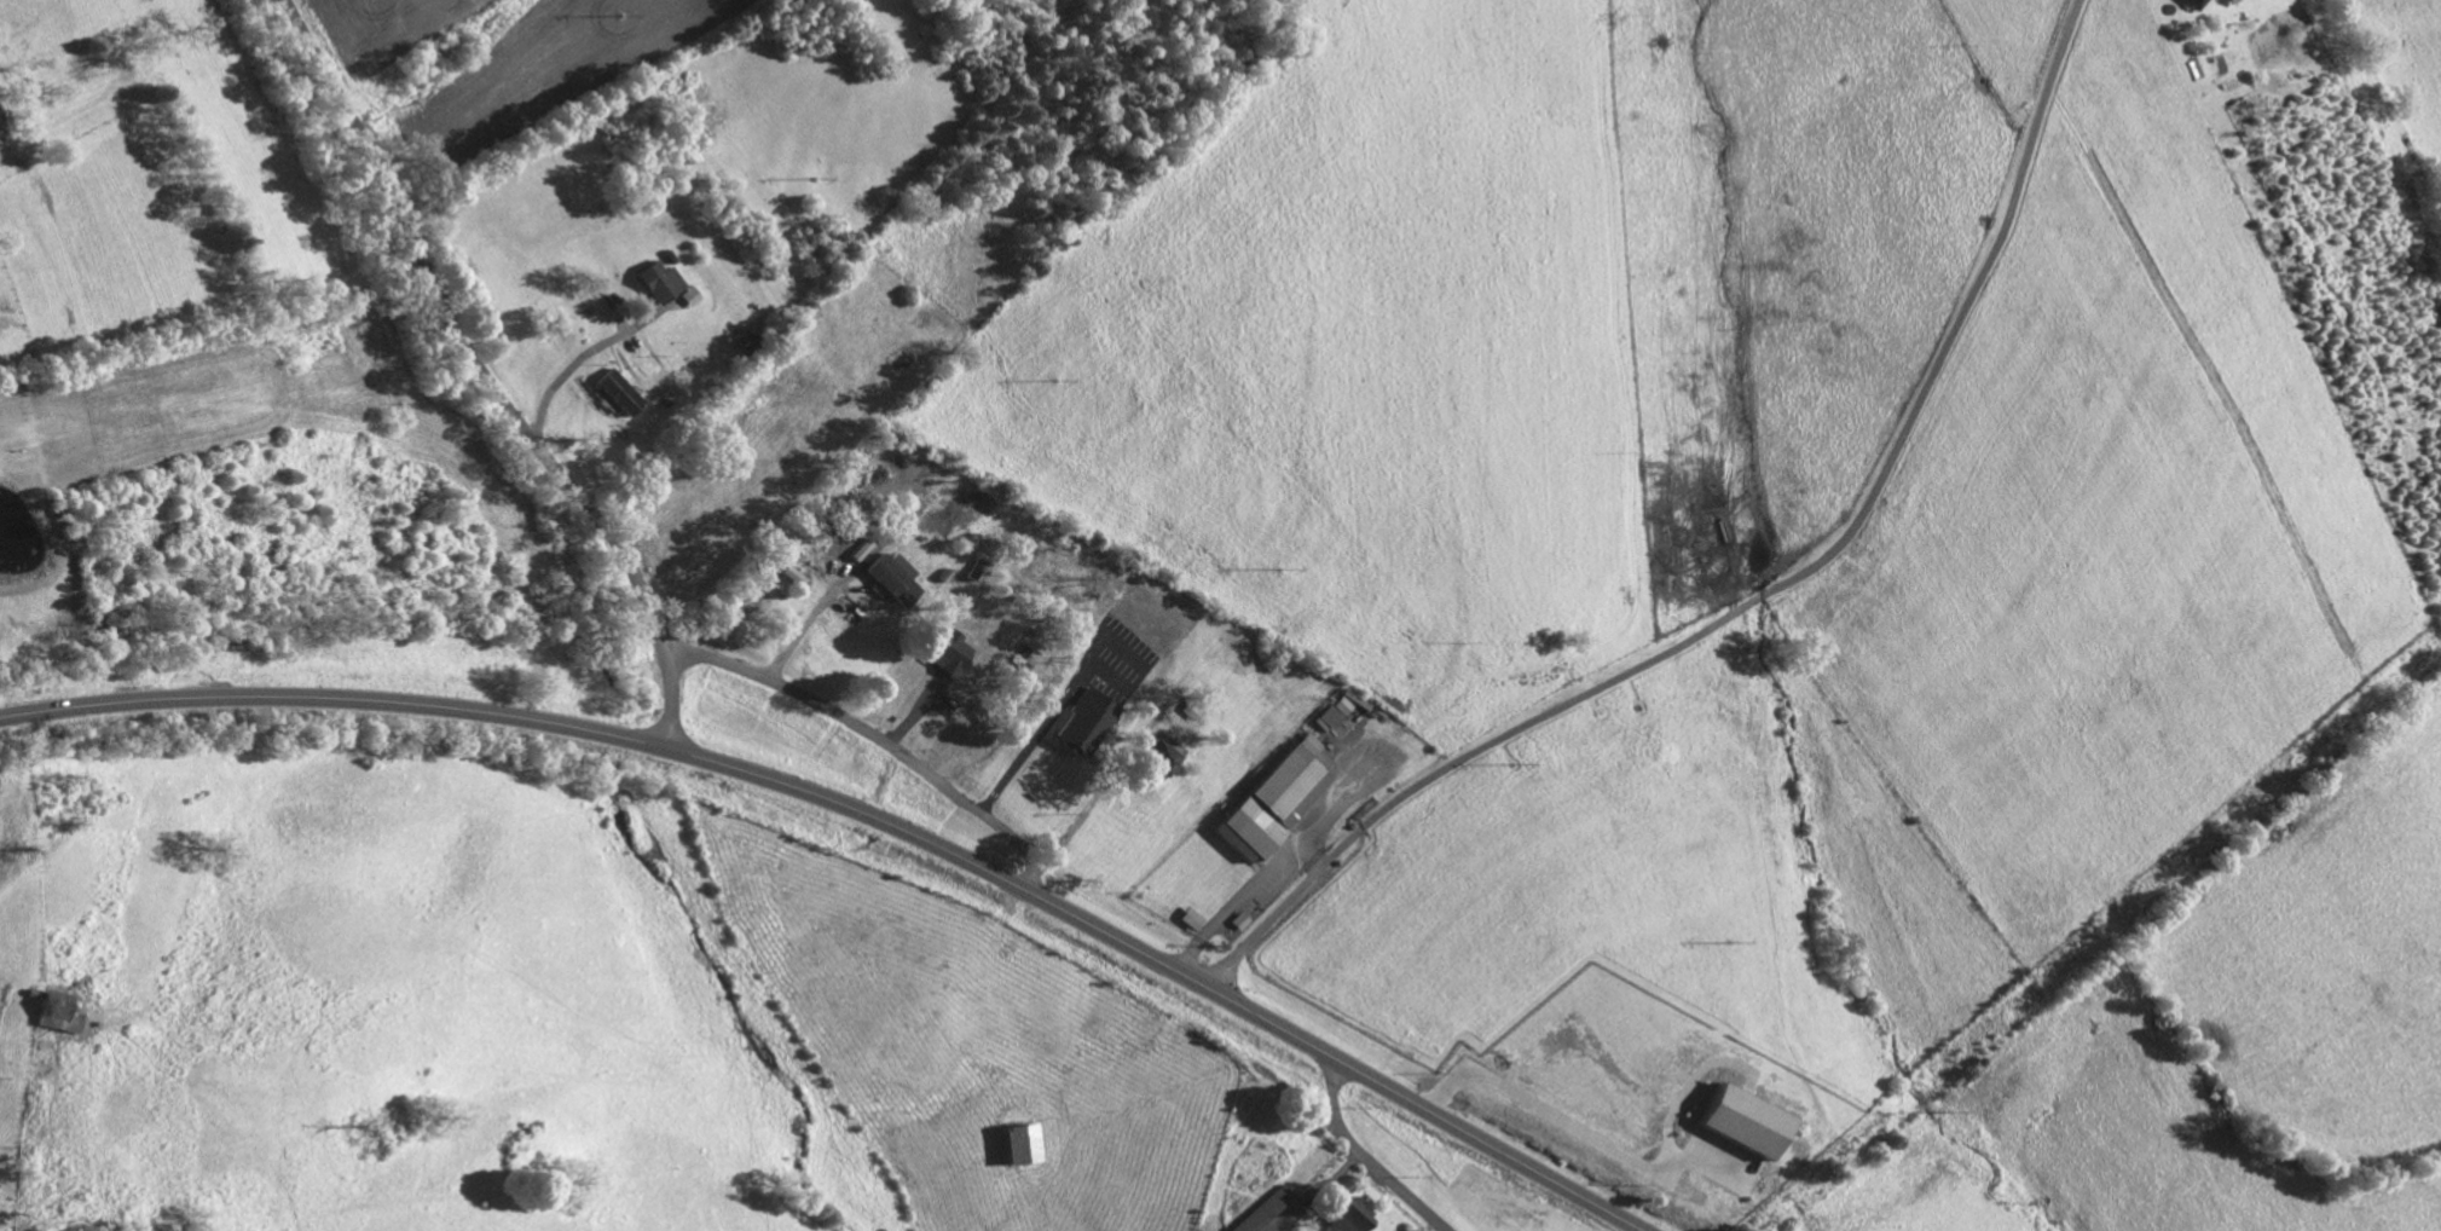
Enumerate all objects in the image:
building: (2191, 2)
building: (656, 281)
building: (688, 296)
road: (573, 363)
road: (484, 377)
building: (618, 392)
building: (791, 574)
building: (892, 580)
road: (1765, 595)
building: (1326, 719)
building: (1082, 722)
road: (1031, 742)
road: (867, 749)
building: (1159, 756)
building: (1274, 801)
road: (867, 815)
building: (1190, 919)
building: (1238, 921)
building: (52, 1012)
building: (1741, 1120)
building: (1017, 1142)
road: (1364, 1158)
building: (1261, 1209)
building: (1346, 1215)

